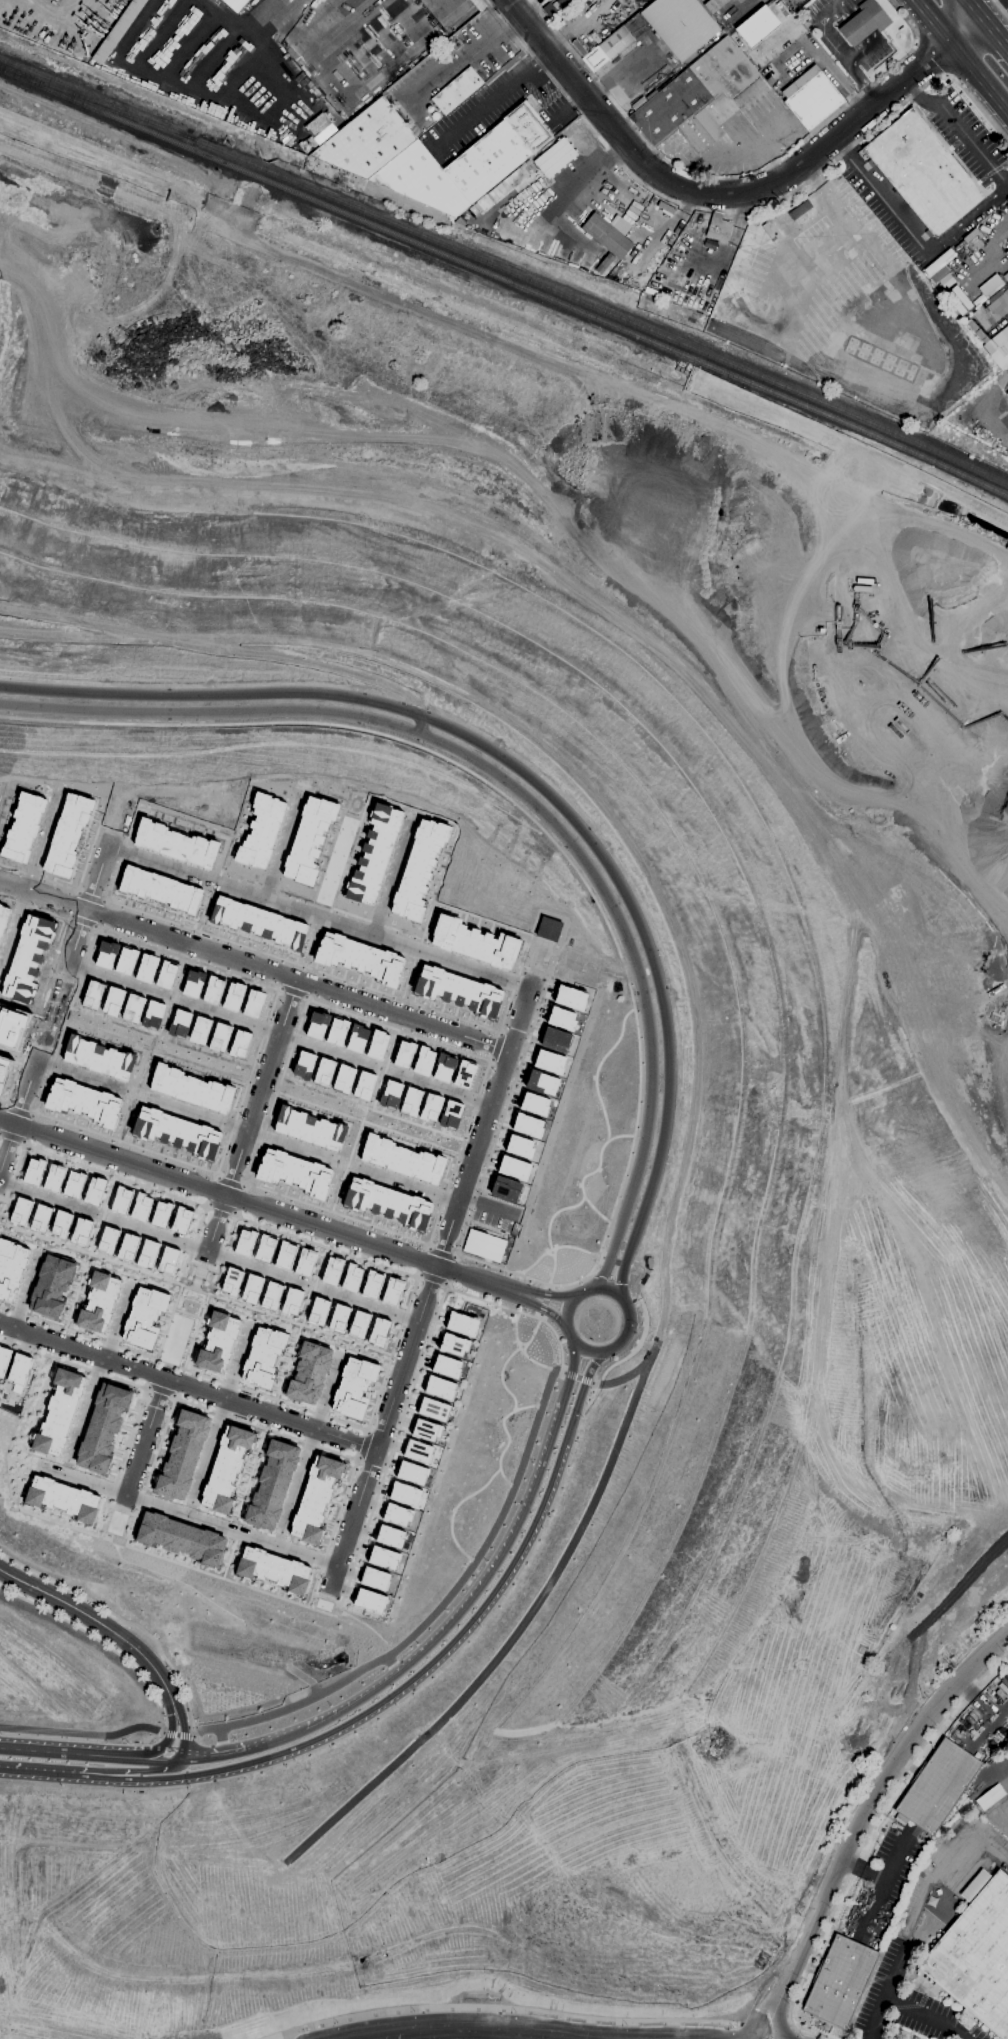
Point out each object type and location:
road: (963, 1)
road: (964, 1)
building: (235, 4)
building: (714, 4)
building: (554, 7)
road: (1001, 8)
road: (53, 10)
road: (266, 15)
building: (865, 22)
building: (680, 24)
building: (758, 26)
road: (132, 28)
road: (986, 28)
road: (159, 32)
road: (246, 33)
road: (252, 33)
road: (189, 44)
building: (609, 48)
road: (461, 54)
road: (964, 54)
road: (930, 58)
road: (545, 60)
railway: (958, 62)
road: (242, 74)
road: (525, 79)
road: (169, 80)
building: (457, 90)
road: (919, 93)
railway: (86, 94)
building: (695, 95)
railway: (86, 97)
building: (812, 97)
building: (316, 130)
building: (367, 140)
road: (973, 141)
road: (844, 147)
building: (556, 157)
building: (465, 163)
building: (531, 166)
road: (590, 172)
building: (924, 172)
road: (732, 177)
building: (502, 189)
road: (732, 193)
road: (828, 200)
road: (739, 209)
building: (800, 209)
building: (475, 211)
railway: (347, 213)
building: (632, 214)
building: (460, 221)
building: (719, 228)
building: (768, 230)
building: (611, 232)
building: (974, 239)
railway: (435, 240)
road: (923, 245)
building: (1007, 252)
building: (939, 261)
building: (940, 273)
building: (1006, 276)
building: (990, 285)
building: (656, 287)
building: (959, 299)
building: (992, 310)
building: (977, 330)
building: (999, 348)
building: (1007, 394)
railway: (815, 399)
road: (992, 423)
railway: (851, 425)
railway: (970, 467)
road: (217, 648)
road: (178, 723)
road: (420, 724)
road: (572, 773)
road: (535, 783)
road: (307, 786)
road: (521, 793)
road: (123, 798)
road: (2, 802)
road: (136, 803)
road: (105, 805)
park: (118, 809)
road: (526, 815)
building: (23, 826)
road: (120, 831)
building: (260, 831)
building: (67, 834)
road: (42, 839)
building: (308, 839)
road: (230, 840)
building: (175, 843)
road: (281, 846)
park: (340, 847)
road: (89, 849)
road: (329, 850)
road: (349, 850)
building: (372, 853)
road: (99, 868)
building: (417, 868)
road: (391, 875)
road: (38, 876)
building: (159, 888)
road: (42, 894)
road: (90, 897)
road: (262, 897)
road: (71, 904)
road: (205, 905)
road: (33, 906)
road: (454, 908)
road: (338, 910)
road: (328, 913)
road: (100, 914)
building: (3, 915)
road: (82, 920)
building: (257, 921)
road: (12, 926)
building: (548, 928)
road: (203, 931)
road: (75, 940)
road: (311, 941)
building: (474, 941)
road: (57, 945)
building: (106, 953)
road: (538, 956)
building: (359, 957)
building: (26, 958)
building: (125, 960)
road: (473, 966)
building: (146, 967)
building: (166, 974)
road: (62, 978)
road: (116, 979)
road: (296, 979)
road: (45, 980)
building: (193, 982)
road: (259, 982)
building: (212, 989)
road: (58, 990)
road: (175, 990)
road: (292, 990)
road: (380, 991)
building: (458, 992)
building: (92, 994)
building: (233, 996)
building: (571, 997)
road: (47, 1000)
building: (112, 1000)
building: (253, 1003)
road: (62, 1005)
building: (133, 1007)
park: (51, 1011)
building: (152, 1013)
road: (91, 1014)
road: (449, 1014)
road: (356, 1015)
road: (229, 1017)
building: (561, 1017)
building: (179, 1023)
building: (317, 1024)
building: (11, 1026)
road: (62, 1028)
building: (199, 1030)
building: (337, 1031)
road: (44, 1033)
road: (161, 1033)
road: (27, 1035)
building: (219, 1036)
building: (356, 1037)
road: (153, 1038)
building: (556, 1039)
road: (33, 1042)
building: (239, 1043)
building: (377, 1044)
road: (495, 1046)
road: (48, 1047)
road: (201, 1050)
road: (326, 1050)
building: (403, 1053)
road: (17, 1054)
building: (97, 1057)
road: (387, 1060)
building: (423, 1060)
building: (548, 1061)
road: (196, 1063)
building: (303, 1064)
road: (249, 1067)
building: (444, 1067)
building: (323, 1071)
building: (3, 1072)
road: (15, 1072)
building: (464, 1074)
road: (77, 1075)
building: (343, 1078)
road: (293, 1082)
building: (542, 1082)
building: (363, 1084)
road: (137, 1086)
road: (26, 1087)
road: (440, 1088)
building: (192, 1089)
building: (390, 1093)
road: (506, 1099)
building: (410, 1100)
building: (83, 1102)
road: (2, 1103)
road: (373, 1103)
building: (534, 1103)
road: (313, 1104)
building: (430, 1107)
road: (18, 1108)
road: (2, 1110)
road: (363, 1113)
building: (450, 1114)
road: (200, 1115)
road: (483, 1117)
road: (634, 1118)
road: (250, 1119)
road: (413, 1122)
building: (526, 1123)
road: (14, 1124)
road: (29, 1128)
building: (308, 1128)
building: (178, 1132)
road: (619, 1135)
road: (120, 1136)
road: (409, 1136)
road: (607, 1136)
road: (460, 1138)
road: (11, 1141)
road: (125, 1143)
road: (290, 1145)
road: (7, 1147)
building: (520, 1147)
road: (457, 1150)
road: (348, 1158)
building: (402, 1158)
road: (253, 1159)
building: (513, 1167)
building: (33, 1170)
building: (292, 1171)
road: (104, 1173)
building: (54, 1177)
road: (232, 1178)
building: (74, 1183)
road: (410, 1185)
building: (505, 1188)
road: (210, 1189)
building: (94, 1190)
road: (232, 1197)
road: (48, 1198)
building: (121, 1199)
road: (240, 1199)
building: (387, 1202)
park: (1, 1203)
building: (140, 1206)
road: (331, 1207)
road: (594, 1208)
building: (20, 1210)
road: (219, 1211)
building: (496, 1211)
building: (160, 1213)
road: (336, 1213)
road: (101, 1216)
building: (40, 1218)
building: (181, 1220)
building: (61, 1224)
building: (80, 1231)
building: (489, 1233)
building: (107, 1239)
building: (244, 1241)
building: (484, 1245)
building: (127, 1246)
road: (575, 1247)
building: (265, 1248)
road: (326, 1248)
road: (82, 1252)
road: (439, 1252)
building: (147, 1254)
building: (284, 1254)
road: (551, 1254)
road: (422, 1259)
building: (167, 1260)
building: (305, 1261)
road: (614, 1261)
road: (533, 1262)
road: (200, 1265)
building: (11, 1267)
road: (261, 1269)
road: (449, 1269)
road: (551, 1269)
building: (332, 1270)
building: (351, 1277)
road: (432, 1277)
road: (479, 1279)
road: (531, 1279)
road: (172, 1281)
building: (231, 1281)
road: (195, 1284)
building: (372, 1284)
building: (52, 1285)
building: (252, 1289)
road: (608, 1290)
road: (23, 1291)
building: (392, 1291)
road: (549, 1294)
building: (271, 1295)
road: (73, 1298)
park: (190, 1300)
road: (543, 1301)
building: (98, 1302)
building: (291, 1302)
road: (543, 1309)
building: (318, 1311)
road: (521, 1312)
building: (144, 1316)
building: (338, 1318)
road: (116, 1321)
road: (294, 1322)
park: (538, 1322)
building: (358, 1323)
building: (462, 1324)
road: (514, 1329)
road: (644, 1330)
road: (194, 1331)
building: (378, 1331)
road: (327, 1333)
road: (531, 1334)
building: (218, 1342)
road: (521, 1343)
building: (454, 1344)
road: (650, 1354)
building: (264, 1357)
building: (4, 1359)
road: (534, 1361)
road: (236, 1362)
building: (446, 1366)
building: (19, 1369)
road: (182, 1369)
building: (308, 1372)
road: (577, 1376)
road: (619, 1378)
road: (187, 1386)
building: (355, 1387)
building: (440, 1387)
road: (143, 1389)
road: (326, 1392)
road: (378, 1392)
road: (38, 1400)
road: (85, 1406)
road: (527, 1406)
building: (433, 1409)
building: (58, 1412)
road: (506, 1414)
road: (383, 1424)
building: (103, 1429)
building: (425, 1429)
road: (379, 1434)
road: (146, 1437)
road: (362, 1444)
road: (208, 1448)
road: (331, 1449)
building: (418, 1450)
building: (181, 1454)
road: (387, 1459)
road: (370, 1461)
building: (226, 1468)
road: (251, 1472)
building: (411, 1472)
road: (298, 1478)
building: (271, 1483)
building: (405, 1494)
building: (62, 1498)
building: (316, 1499)
road: (453, 1509)
road: (127, 1512)
building: (397, 1514)
road: (188, 1515)
road: (50, 1520)
park: (115, 1524)
building: (390, 1536)
building: (181, 1538)
building: (383, 1557)
road: (181, 1564)
building: (273, 1569)
building: (374, 1578)
building: (369, 1600)
park: (323, 1605)
road: (436, 1608)
road: (91, 1617)
road: (120, 1619)
road: (98, 1642)
road: (507, 1643)
road: (391, 1665)
road: (394, 1674)
road: (304, 1677)
road: (408, 1684)
road: (79, 1732)
road: (175, 1735)
road: (217, 1737)
road: (227, 1746)
road: (16, 1748)
road: (129, 1753)
road: (20, 1766)
road: (149, 1770)
building: (938, 1786)
building: (991, 1796)
road: (862, 1824)
road: (865, 1840)
road: (924, 1884)
building: (977, 1953)
building: (841, 1981)
road: (499, 2005)
road: (925, 2016)
road: (876, 2018)
road: (779, 2019)
road: (763, 2023)
road: (522, 2031)
road: (385, 2035)
road: (554, 2037)

